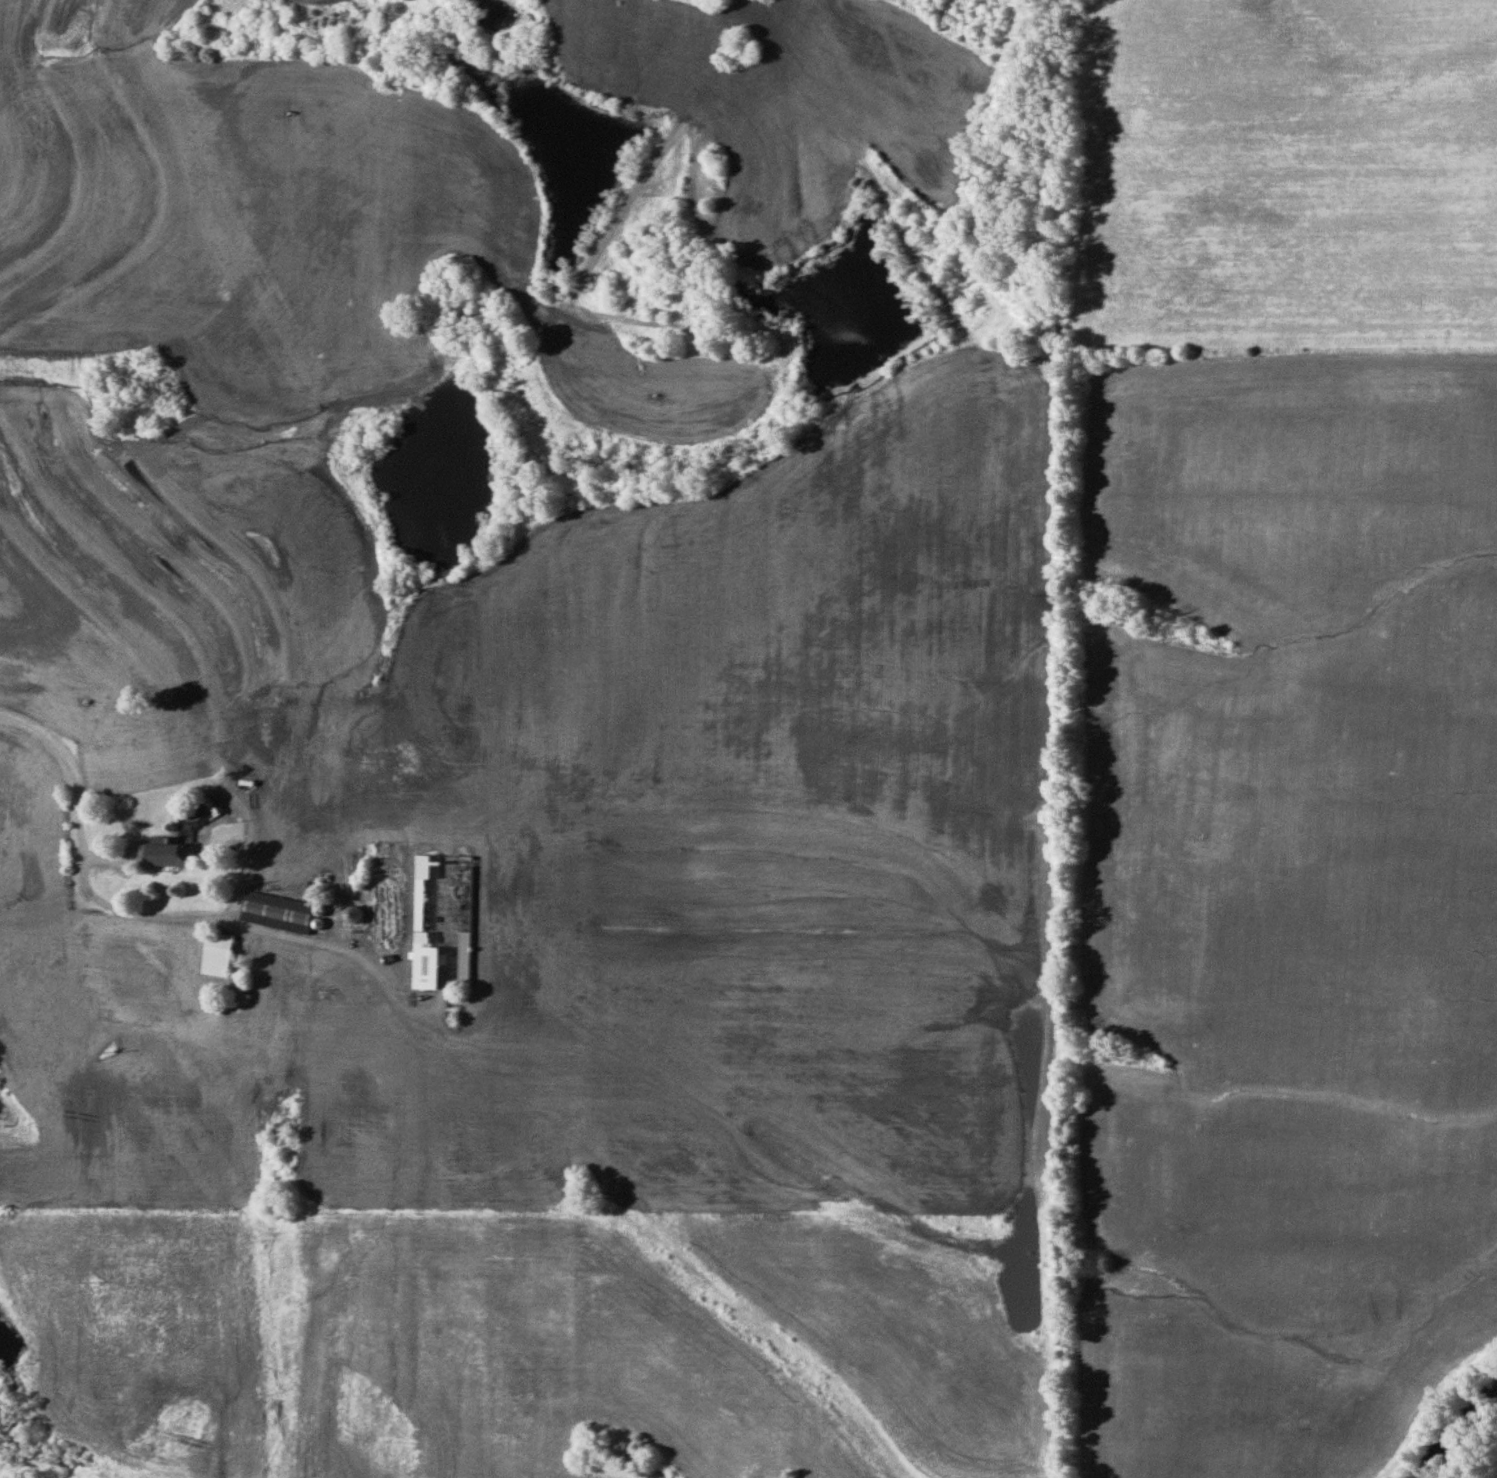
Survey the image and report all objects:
building: (168, 853)
road: (245, 854)
building: (280, 911)
building: (358, 913)
road: (161, 917)
building: (443, 922)
building: (220, 954)
river: (1464, 1431)

